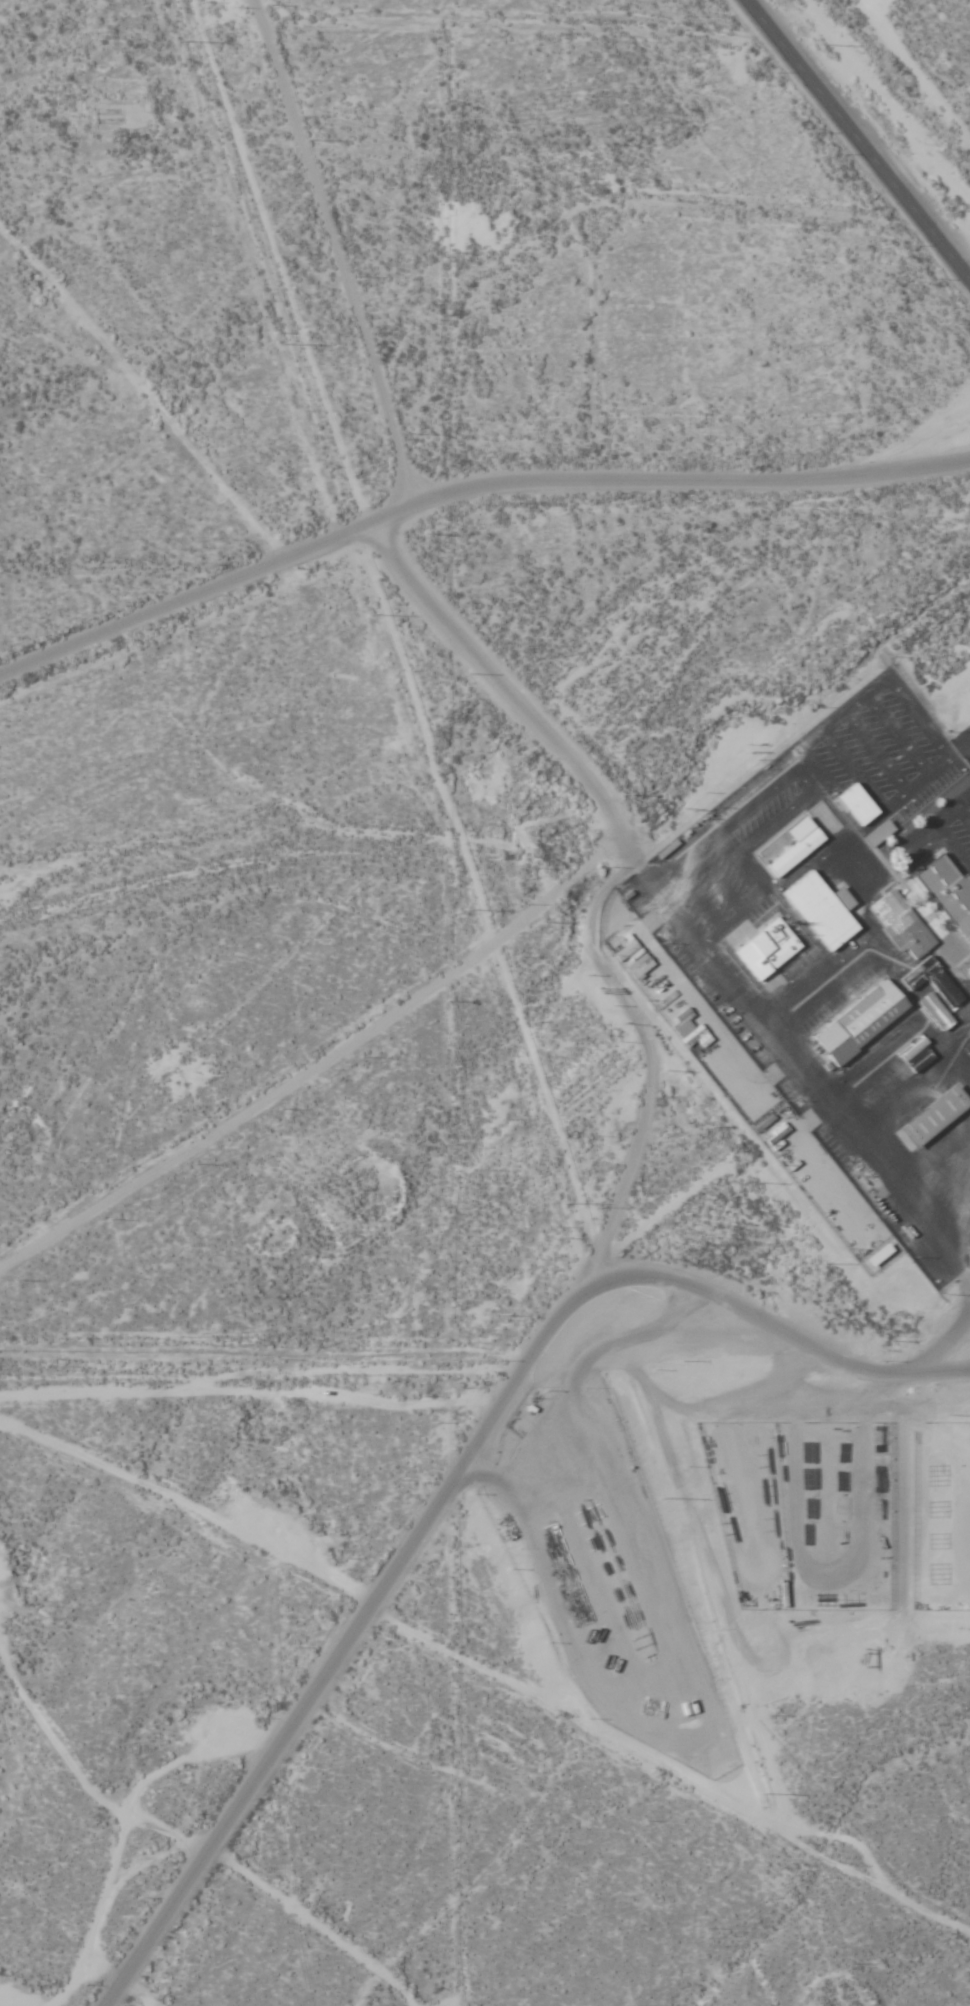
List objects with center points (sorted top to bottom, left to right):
road: (261, 10)
road: (519, 18)
road: (856, 141)
road: (336, 240)
road: (866, 347)
road: (142, 390)
road: (467, 492)
building: (857, 804)
building: (791, 847)
road: (828, 849)
road: (637, 850)
building: (949, 892)
building: (822, 910)
building: (900, 924)
road: (872, 931)
building: (766, 949)
building: (934, 992)
building: (861, 1021)
building: (691, 1034)
building: (916, 1053)
building: (768, 1073)
building: (897, 1075)
building: (935, 1117)
building: (879, 1254)
road: (483, 1368)
road: (394, 1570)
road: (669, 1771)

